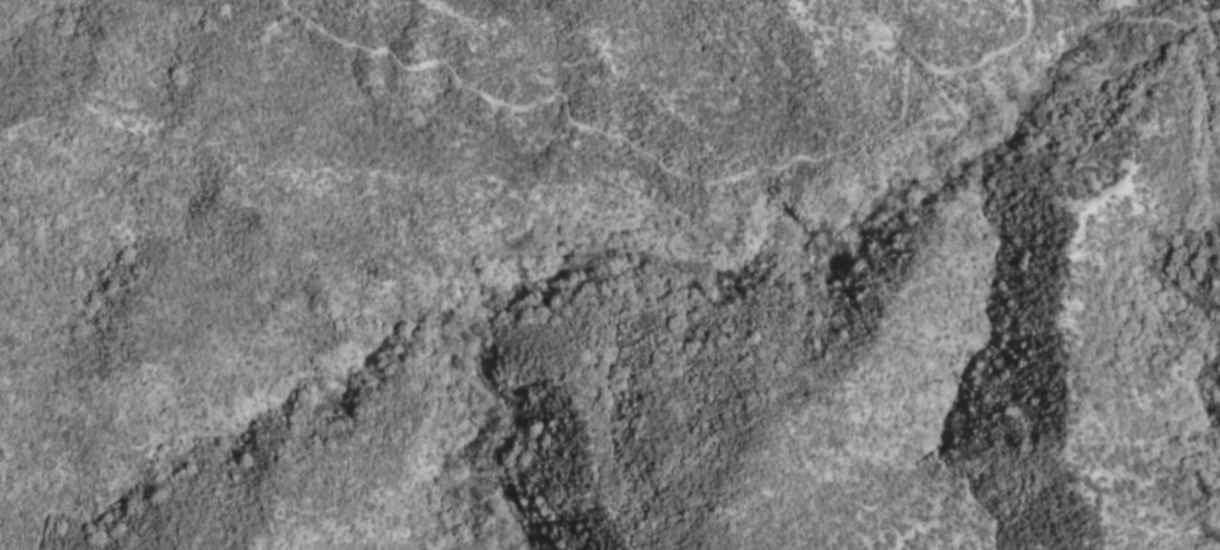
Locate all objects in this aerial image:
road: (1162, 18)
road: (679, 171)

